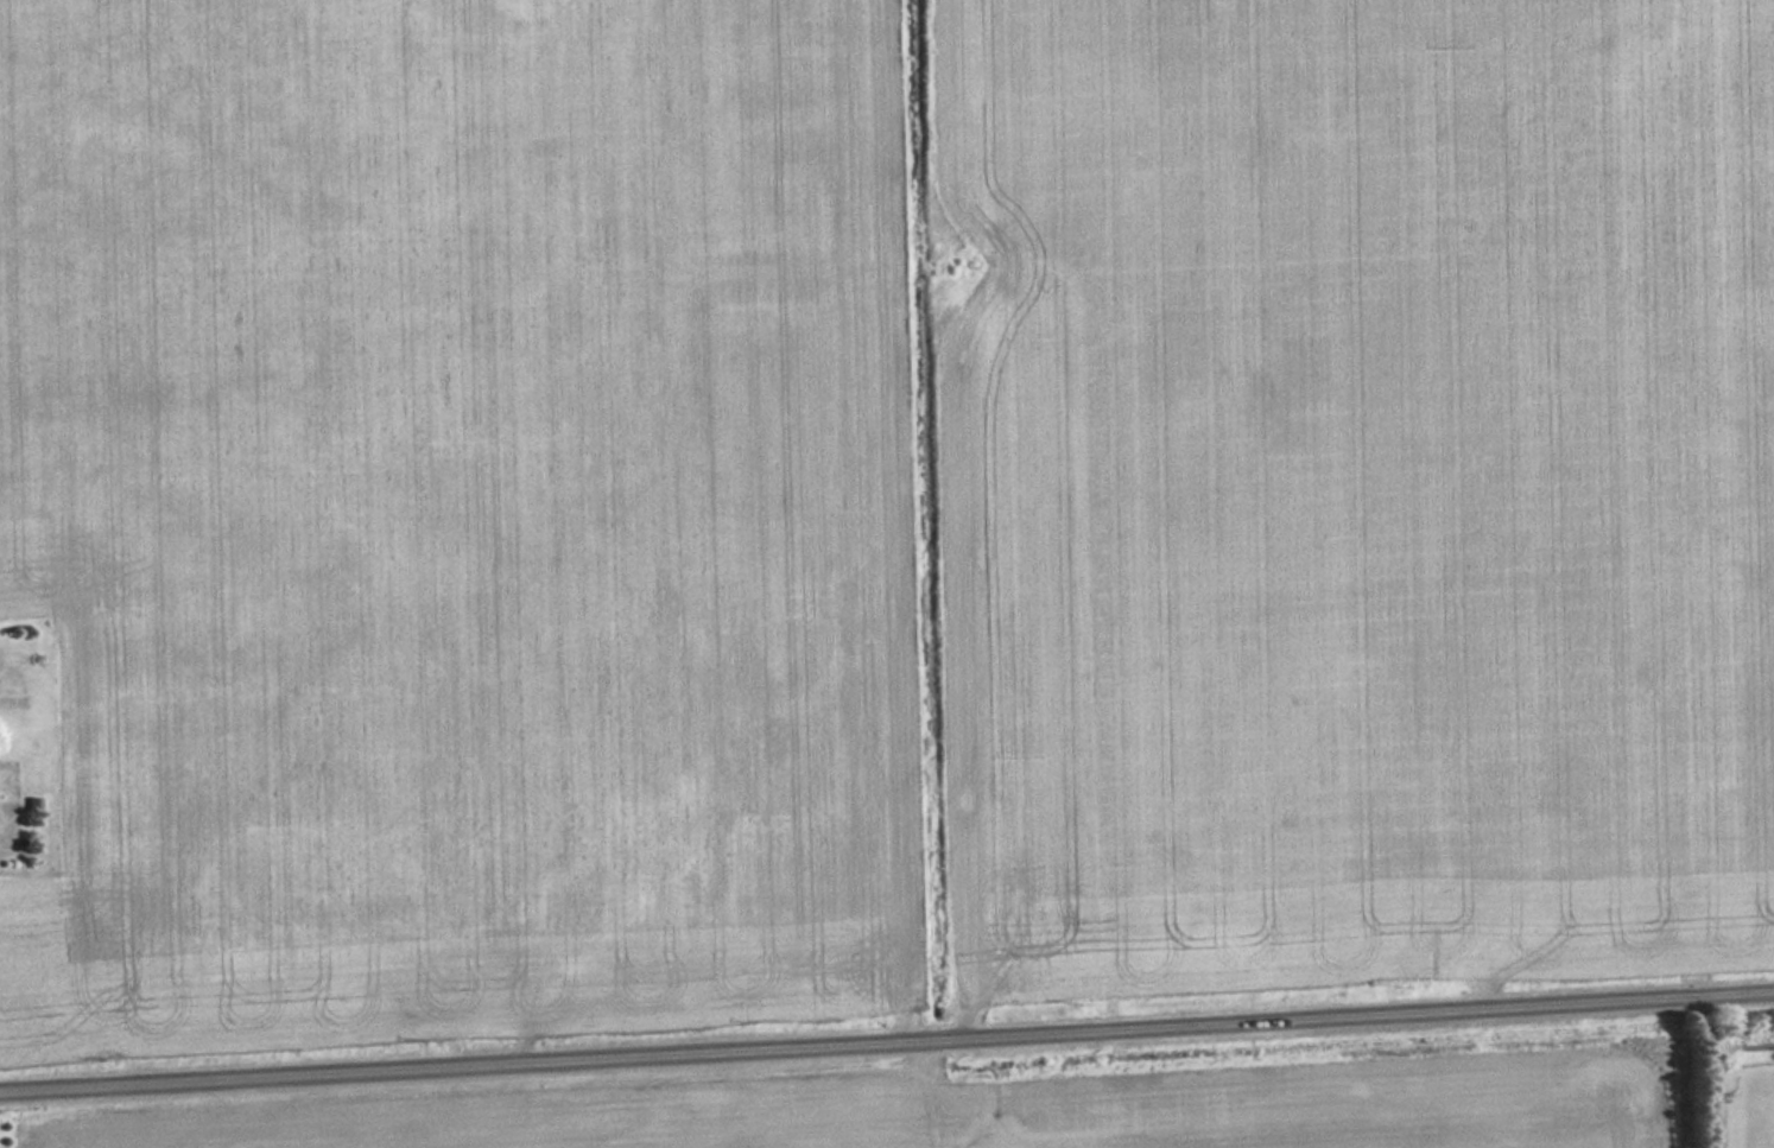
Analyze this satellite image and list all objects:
building: (33, 806)
road: (887, 1042)

